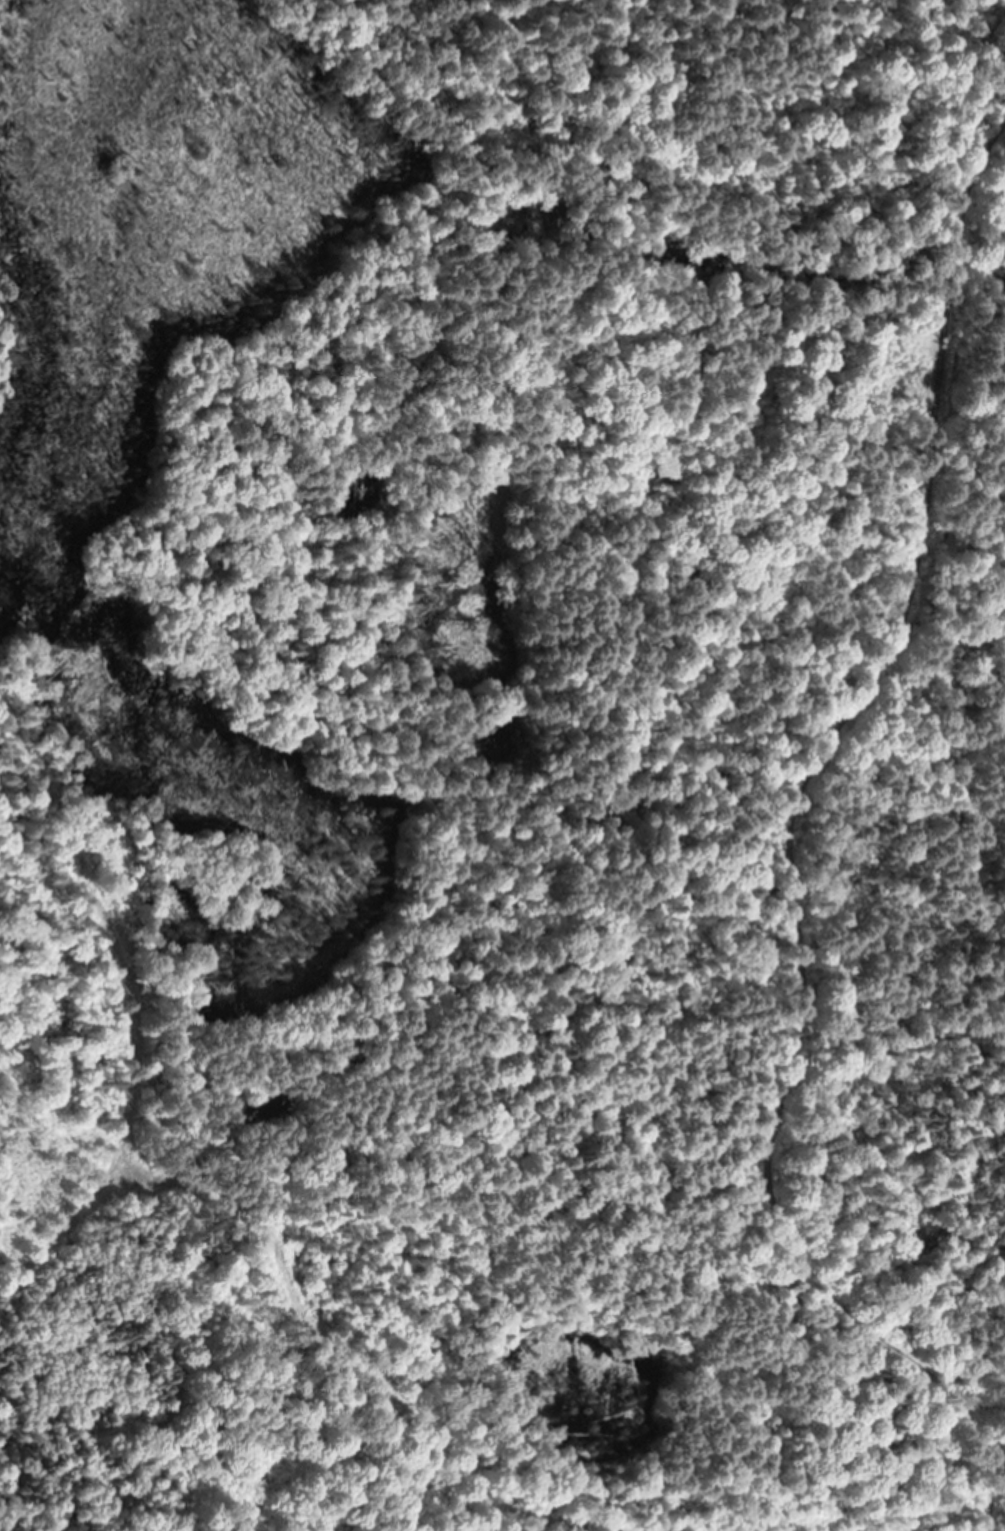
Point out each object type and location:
road: (793, 856)

